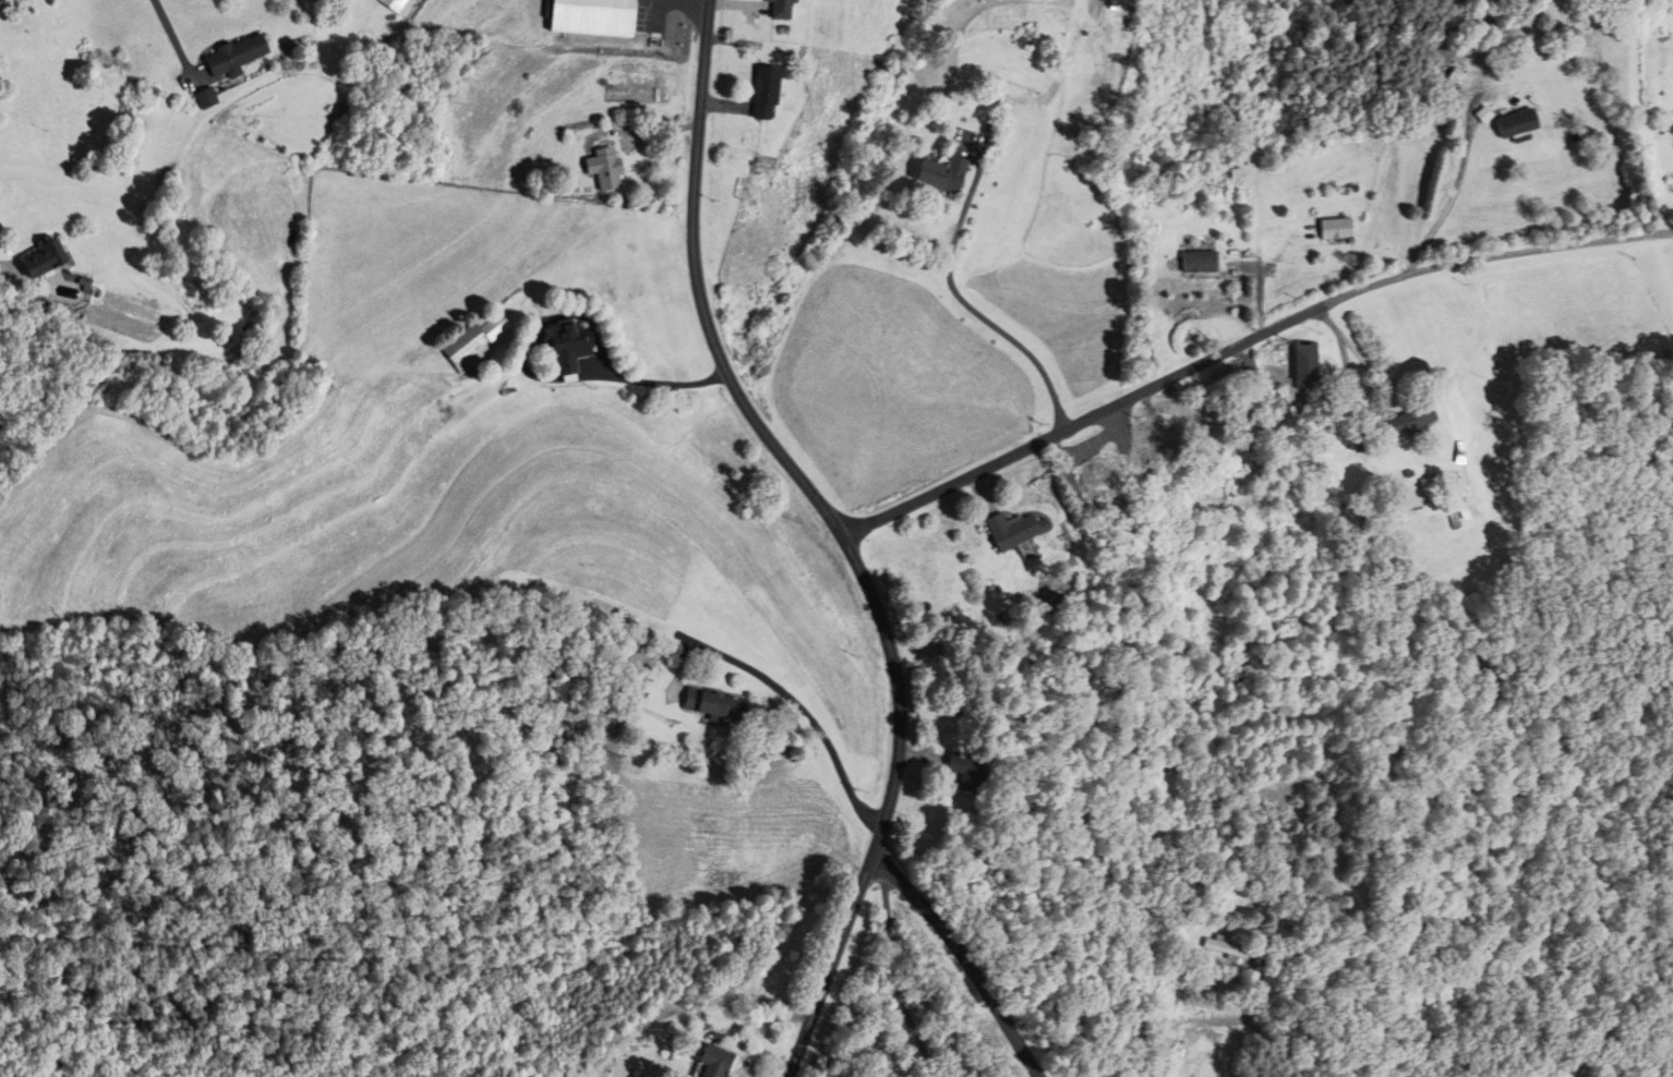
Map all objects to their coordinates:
building: (1120, 3)
building: (394, 5)
building: (642, 5)
building: (786, 9)
road: (170, 34)
building: (237, 57)
building: (763, 92)
building: (205, 98)
building: (1515, 123)
building: (602, 168)
building: (939, 174)
building: (1331, 229)
building: (47, 261)
building: (1194, 261)
road: (975, 313)
building: (474, 342)
road: (1243, 343)
building: (563, 346)
building: (1301, 365)
road: (543, 378)
building: (1409, 421)
building: (1163, 451)
building: (1102, 481)
building: (1432, 485)
building: (1468, 501)
building: (1015, 529)
road: (838, 533)
road: (792, 699)
building: (712, 704)
building: (968, 769)
building: (1232, 947)
road: (966, 960)
road: (898, 976)
building: (714, 1061)

